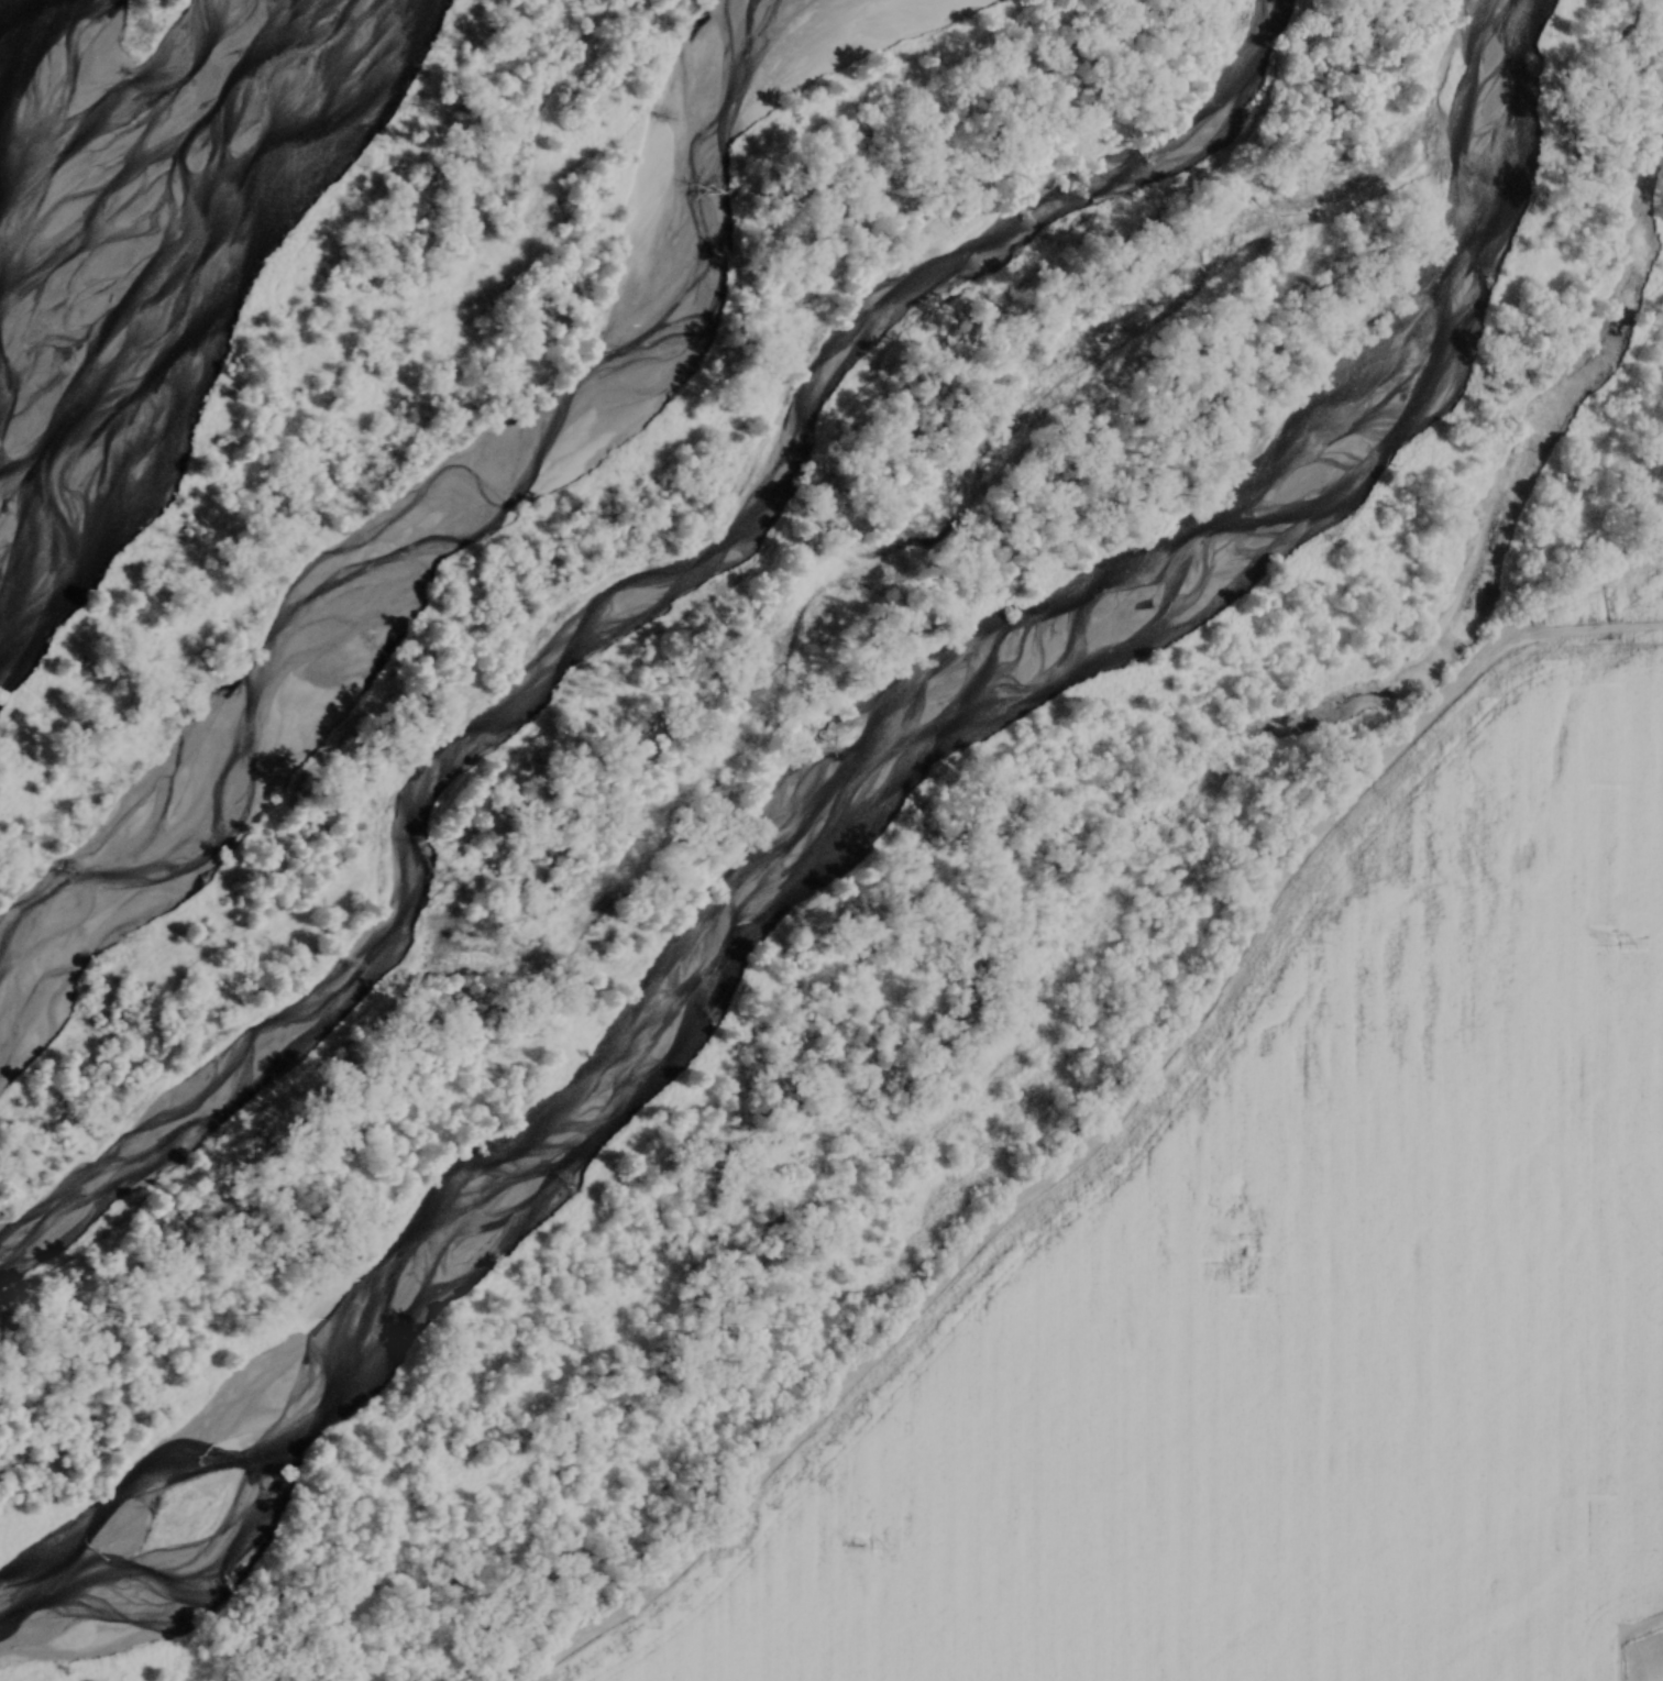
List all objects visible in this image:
river: (25, 66)
power tower: (1614, 938)
road: (1098, 1133)
power tower: (1238, 1241)
power tower: (863, 1540)

